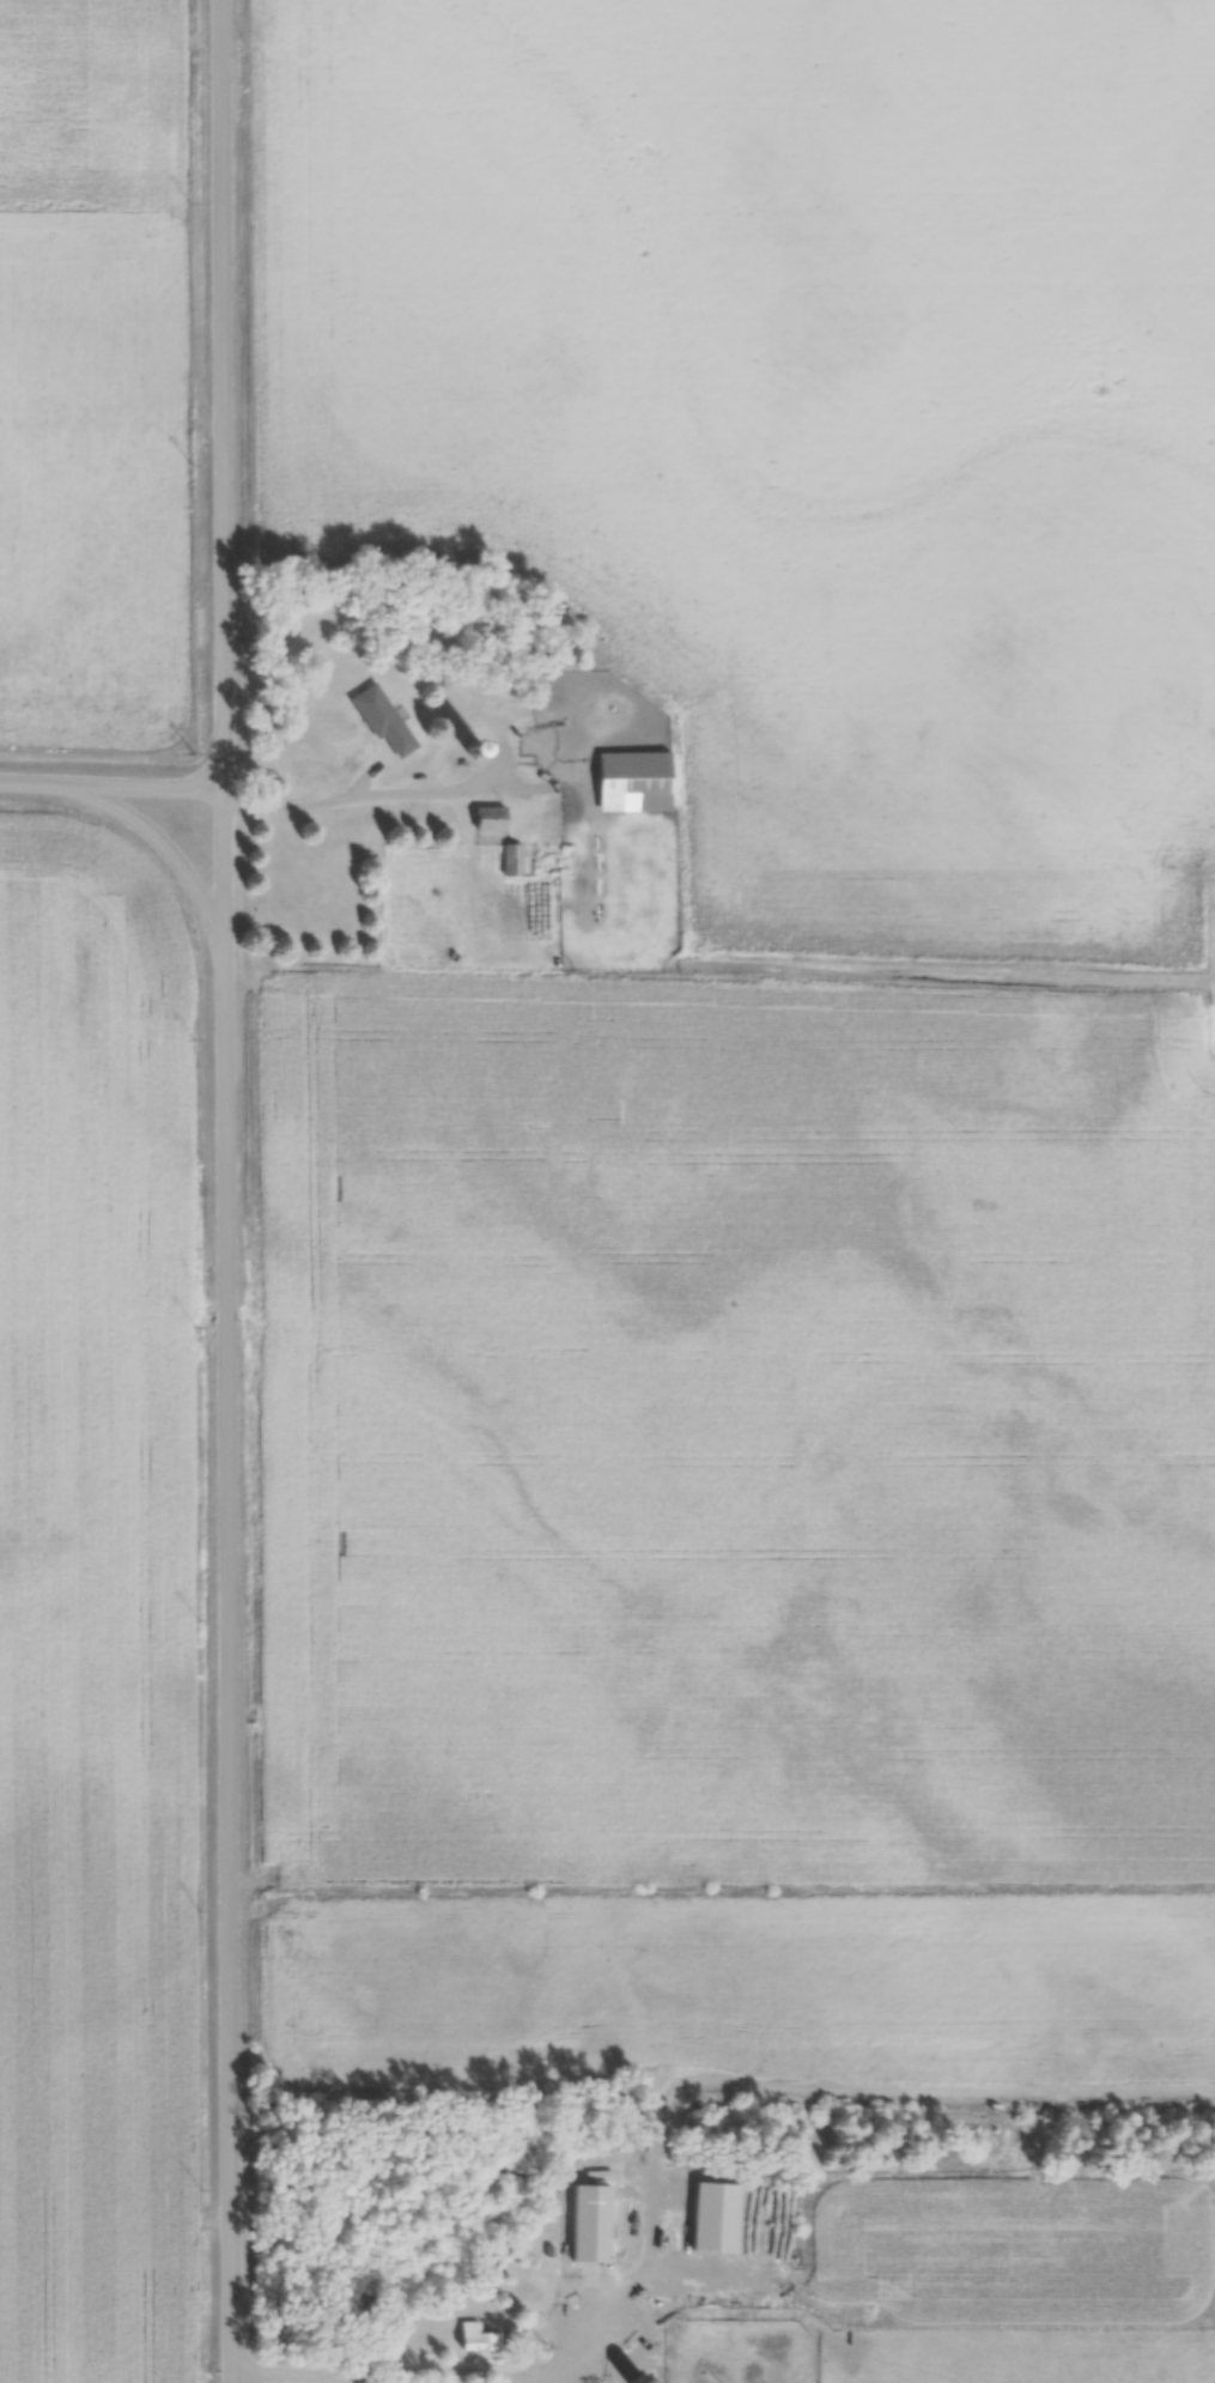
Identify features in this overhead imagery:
building: (383, 720)
road: (111, 784)
road: (312, 805)
building: (491, 818)
road: (160, 841)
road: (225, 1191)
building: (591, 2223)
building: (479, 2337)
road: (420, 2369)
road: (275, 2373)
road: (326, 2379)

